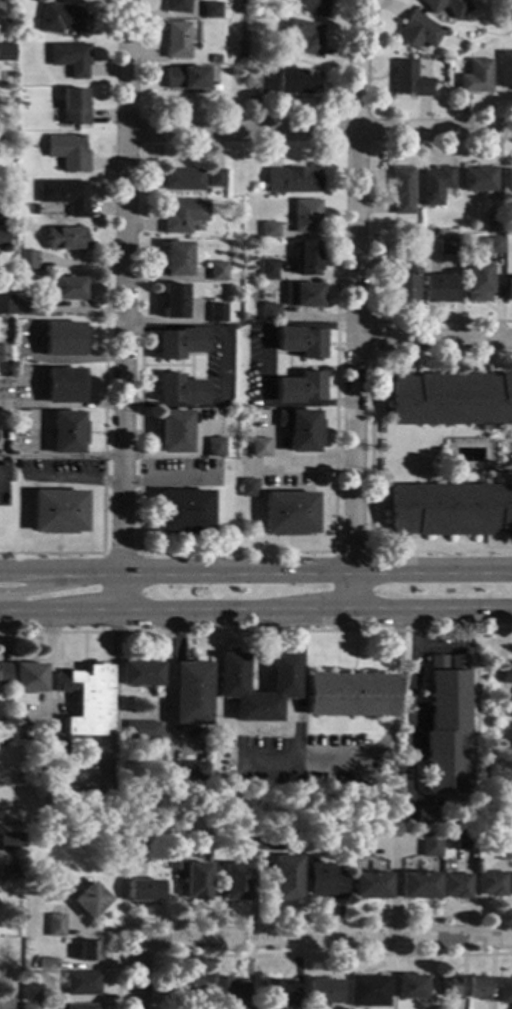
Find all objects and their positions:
building: (195, 0)
building: (175, 6)
building: (310, 6)
building: (448, 6)
building: (209, 10)
building: (62, 18)
building: (418, 31)
building: (302, 36)
building: (175, 40)
building: (6, 52)
building: (70, 58)
building: (213, 59)
road: (355, 62)
road: (127, 64)
building: (505, 69)
building: (475, 77)
building: (184, 78)
building: (409, 80)
building: (294, 81)
building: (263, 86)
building: (211, 88)
building: (73, 107)
road: (319, 128)
building: (67, 152)
building: (214, 178)
building: (181, 179)
building: (479, 179)
building: (290, 180)
building: (508, 181)
building: (435, 185)
building: (401, 190)
building: (65, 195)
building: (32, 209)
building: (181, 215)
building: (303, 215)
building: (6, 217)
building: (492, 222)
building: (268, 229)
building: (412, 229)
road: (314, 234)
building: (3, 238)
building: (65, 238)
building: (488, 243)
building: (445, 246)
building: (306, 258)
building: (26, 259)
building: (174, 259)
road: (80, 261)
road: (370, 262)
building: (266, 268)
building: (214, 271)
building: (400, 280)
building: (477, 281)
building: (67, 288)
building: (436, 288)
building: (508, 289)
building: (300, 295)
building: (170, 300)
building: (5, 304)
building: (24, 306)
building: (214, 312)
building: (268, 312)
road: (398, 319)
road: (208, 325)
building: (243, 333)
road: (432, 336)
road: (371, 337)
building: (61, 339)
building: (297, 341)
building: (178, 342)
building: (4, 353)
road: (352, 370)
road: (124, 371)
building: (63, 385)
building: (298, 388)
building: (177, 389)
building: (450, 399)
building: (299, 430)
building: (172, 431)
building: (67, 432)
road: (495, 438)
building: (213, 446)
parking lot: (510, 446)
building: (259, 447)
road: (369, 454)
road: (103, 457)
road: (291, 459)
building: (217, 460)
road: (508, 461)
building: (18, 464)
road: (73, 477)
road: (167, 477)
road: (491, 479)
building: (248, 488)
building: (449, 509)
building: (58, 511)
building: (183, 511)
building: (288, 513)
road: (280, 550)
road: (350, 550)
road: (138, 573)
road: (255, 576)
road: (255, 614)
road: (256, 630)
road: (354, 652)
road: (440, 652)
building: (4, 673)
building: (140, 674)
building: (231, 674)
building: (507, 674)
building: (28, 677)
road: (298, 687)
building: (190, 694)
building: (350, 695)
building: (87, 701)
road: (411, 707)
road: (138, 717)
building: (446, 725)
building: (141, 731)
road: (472, 746)
road: (376, 749)
building: (58, 750)
building: (392, 756)
parking lot: (308, 762)
building: (185, 773)
building: (226, 806)
building: (426, 816)
building: (463, 837)
building: (10, 841)
building: (243, 842)
building: (268, 842)
building: (358, 844)
building: (127, 845)
building: (429, 845)
building: (502, 852)
building: (172, 860)
building: (6, 873)
building: (17, 875)
building: (285, 878)
building: (324, 881)
building: (194, 882)
building: (233, 882)
building: (490, 884)
building: (369, 885)
building: (417, 885)
building: (511, 885)
building: (455, 886)
building: (142, 891)
building: (88, 900)
road: (274, 919)
building: (53, 926)
road: (327, 938)
building: (87, 951)
road: (308, 955)
building: (44, 964)
road: (140, 974)
building: (81, 983)
building: (450, 986)
building: (183, 987)
building: (409, 987)
building: (478, 988)
building: (224, 990)
building: (366, 991)
building: (504, 991)
building: (319, 992)
building: (31, 993)
building: (276, 993)
building: (1, 996)
building: (29, 1006)
building: (80, 1006)

